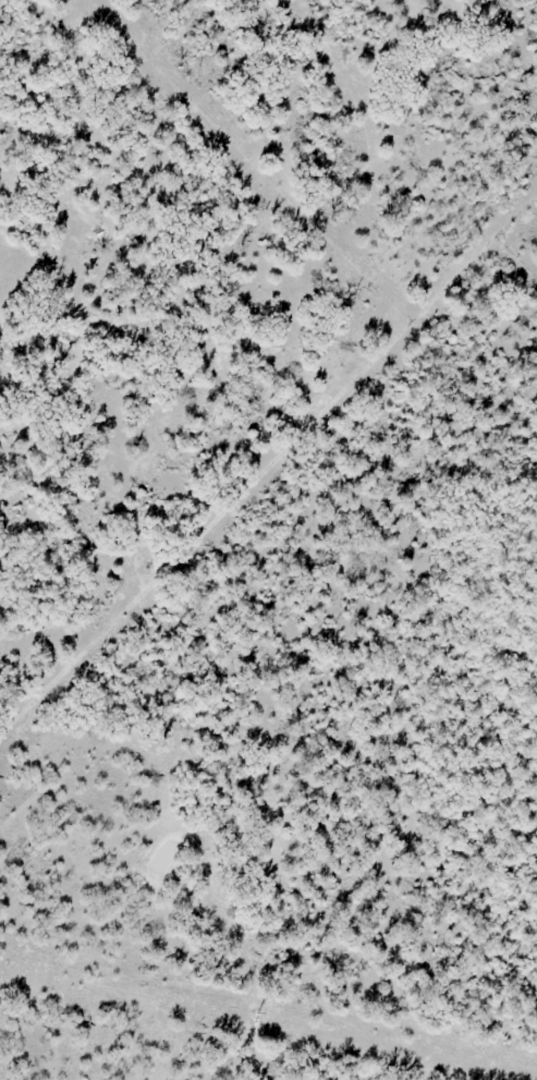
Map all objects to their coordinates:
power tower: (253, 1012)

